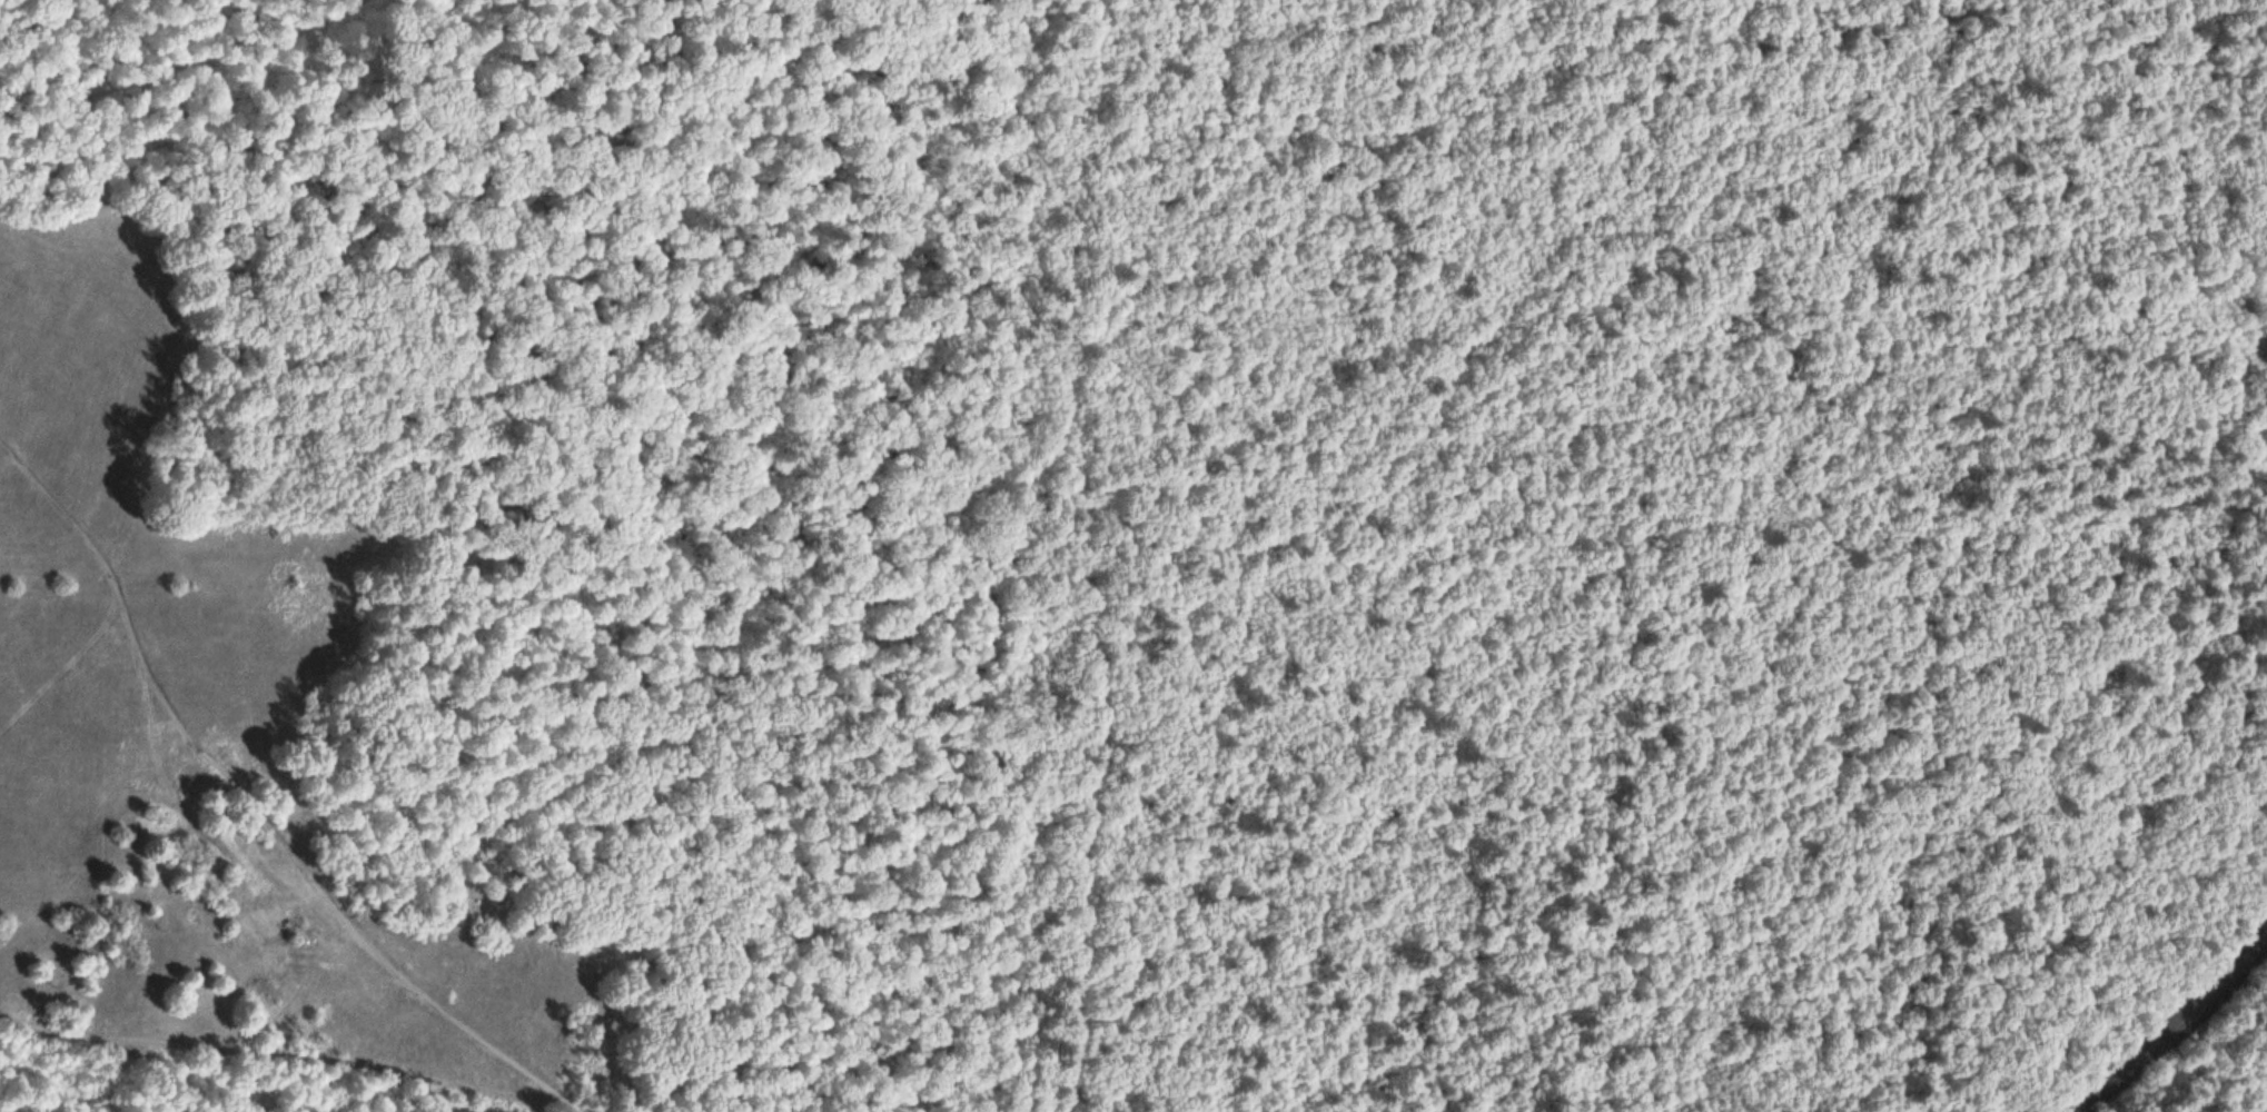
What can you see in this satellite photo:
road: (1086, 555)
road: (65, 664)
road: (238, 792)
road: (2176, 1027)
road: (275, 1060)

